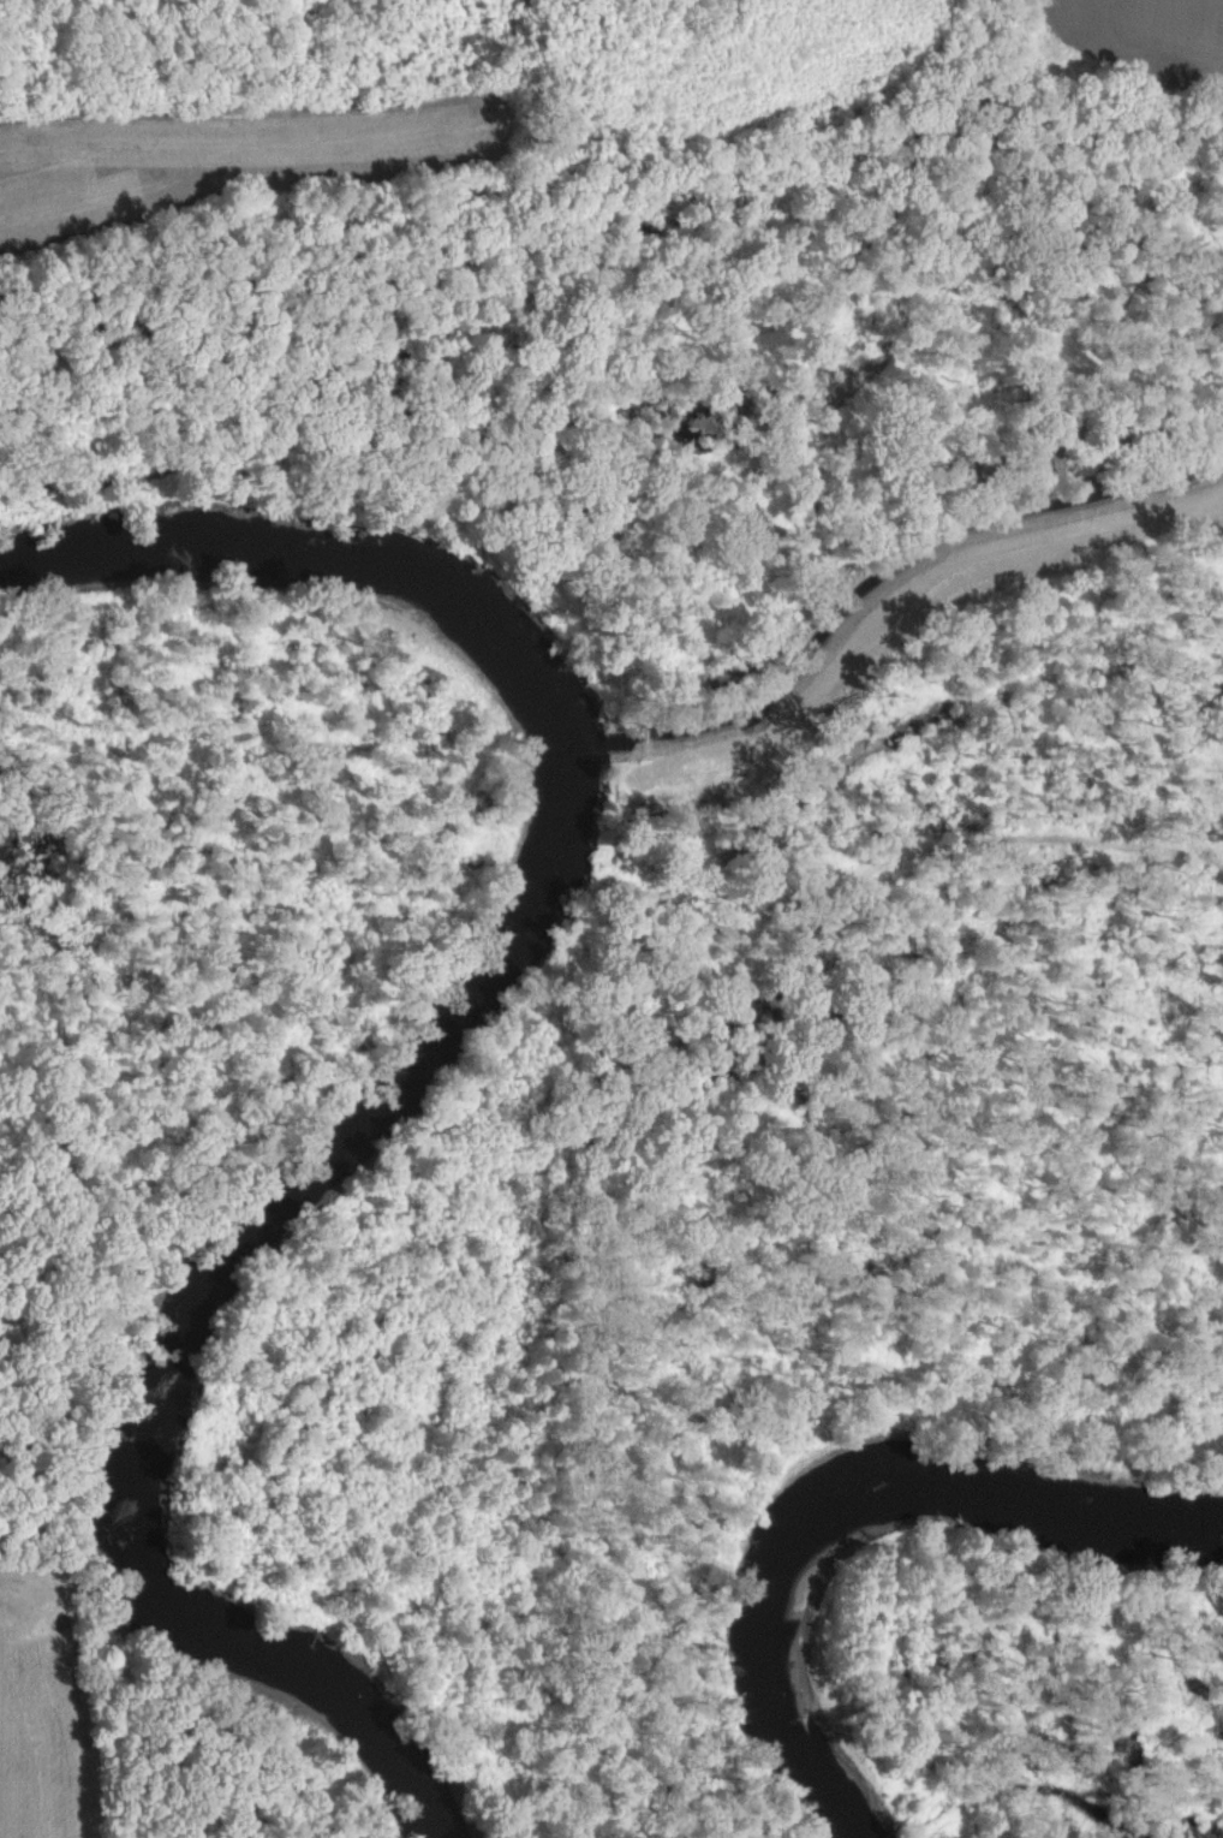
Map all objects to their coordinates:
river: (460, 1045)
river: (851, 1476)

